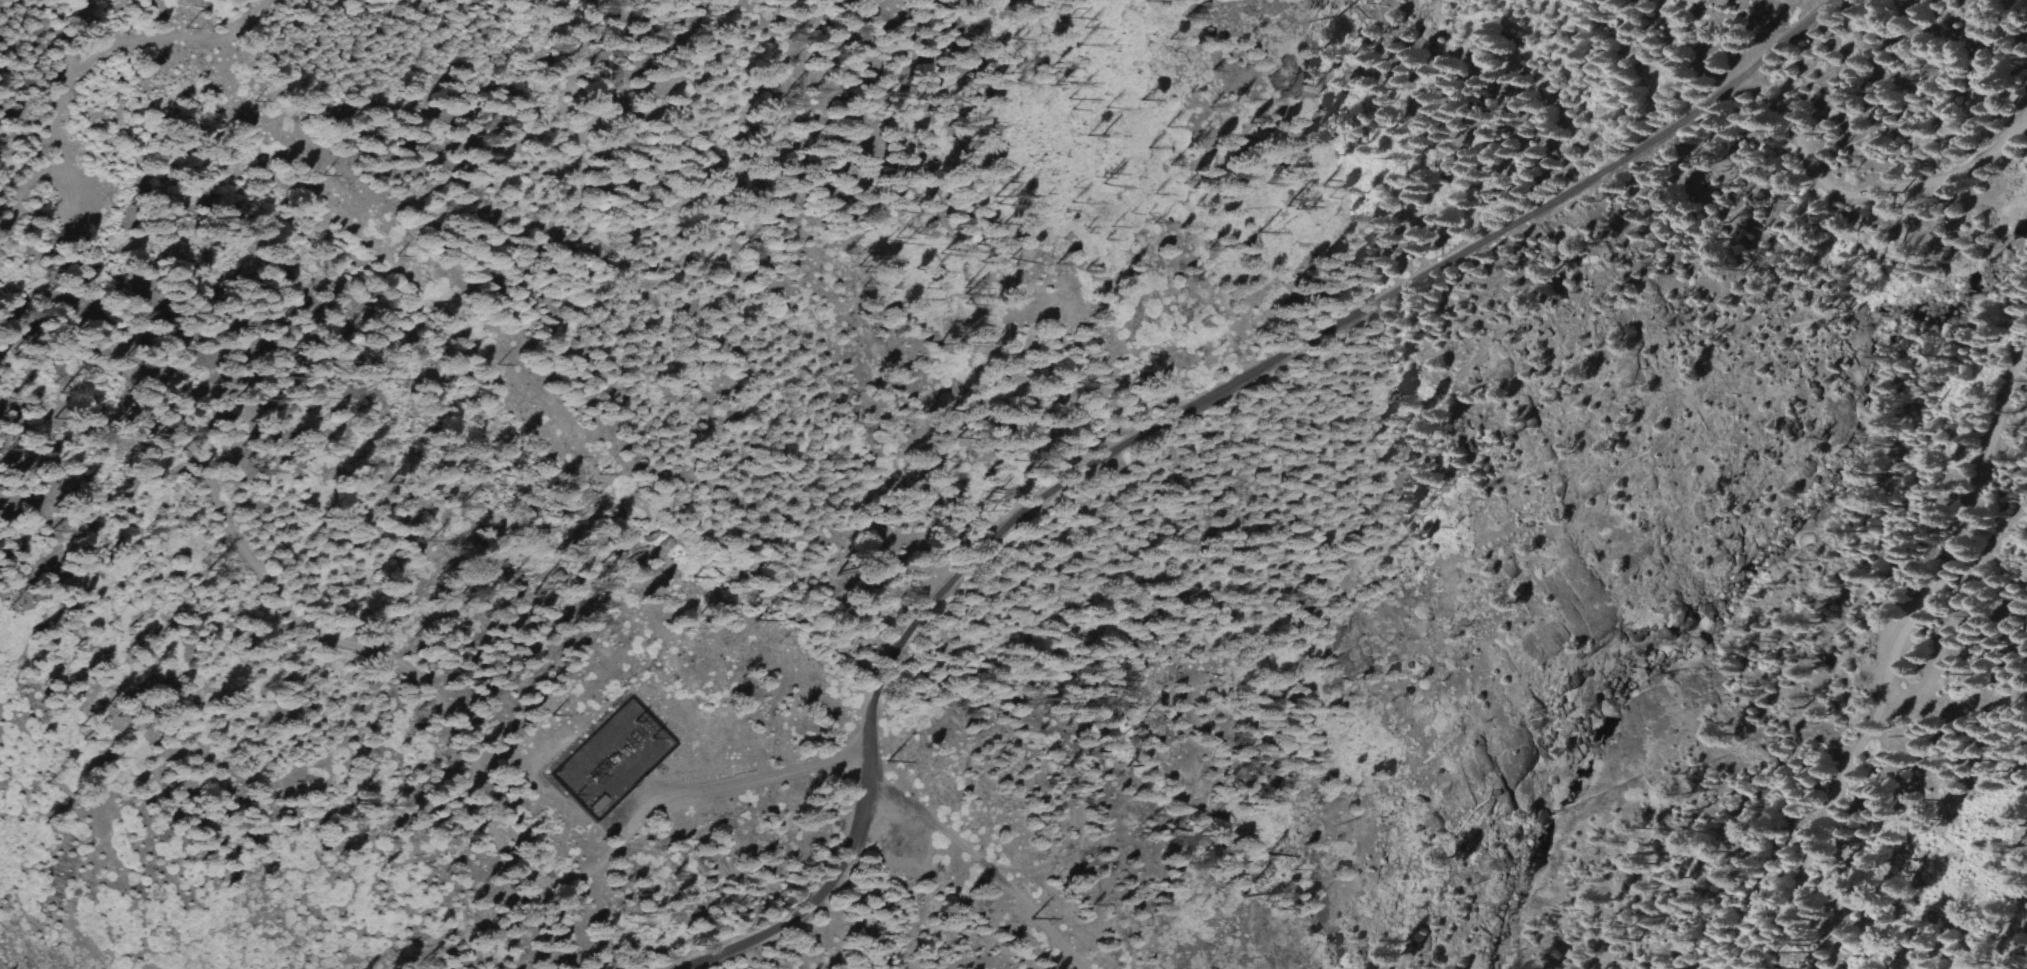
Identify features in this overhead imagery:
road: (1785, 37)
power tower: (317, 180)
road: (1866, 195)
power tower: (385, 250)
road: (1279, 357)
power tower: (493, 364)
road: (1987, 450)
road: (1992, 538)
power tower: (686, 570)
river: (1704, 611)
power tower: (759, 630)
road: (1863, 749)
power tower: (885, 758)
power substation: (609, 761)
road: (756, 779)
road: (985, 864)
road: (836, 881)
power tower: (1025, 915)

